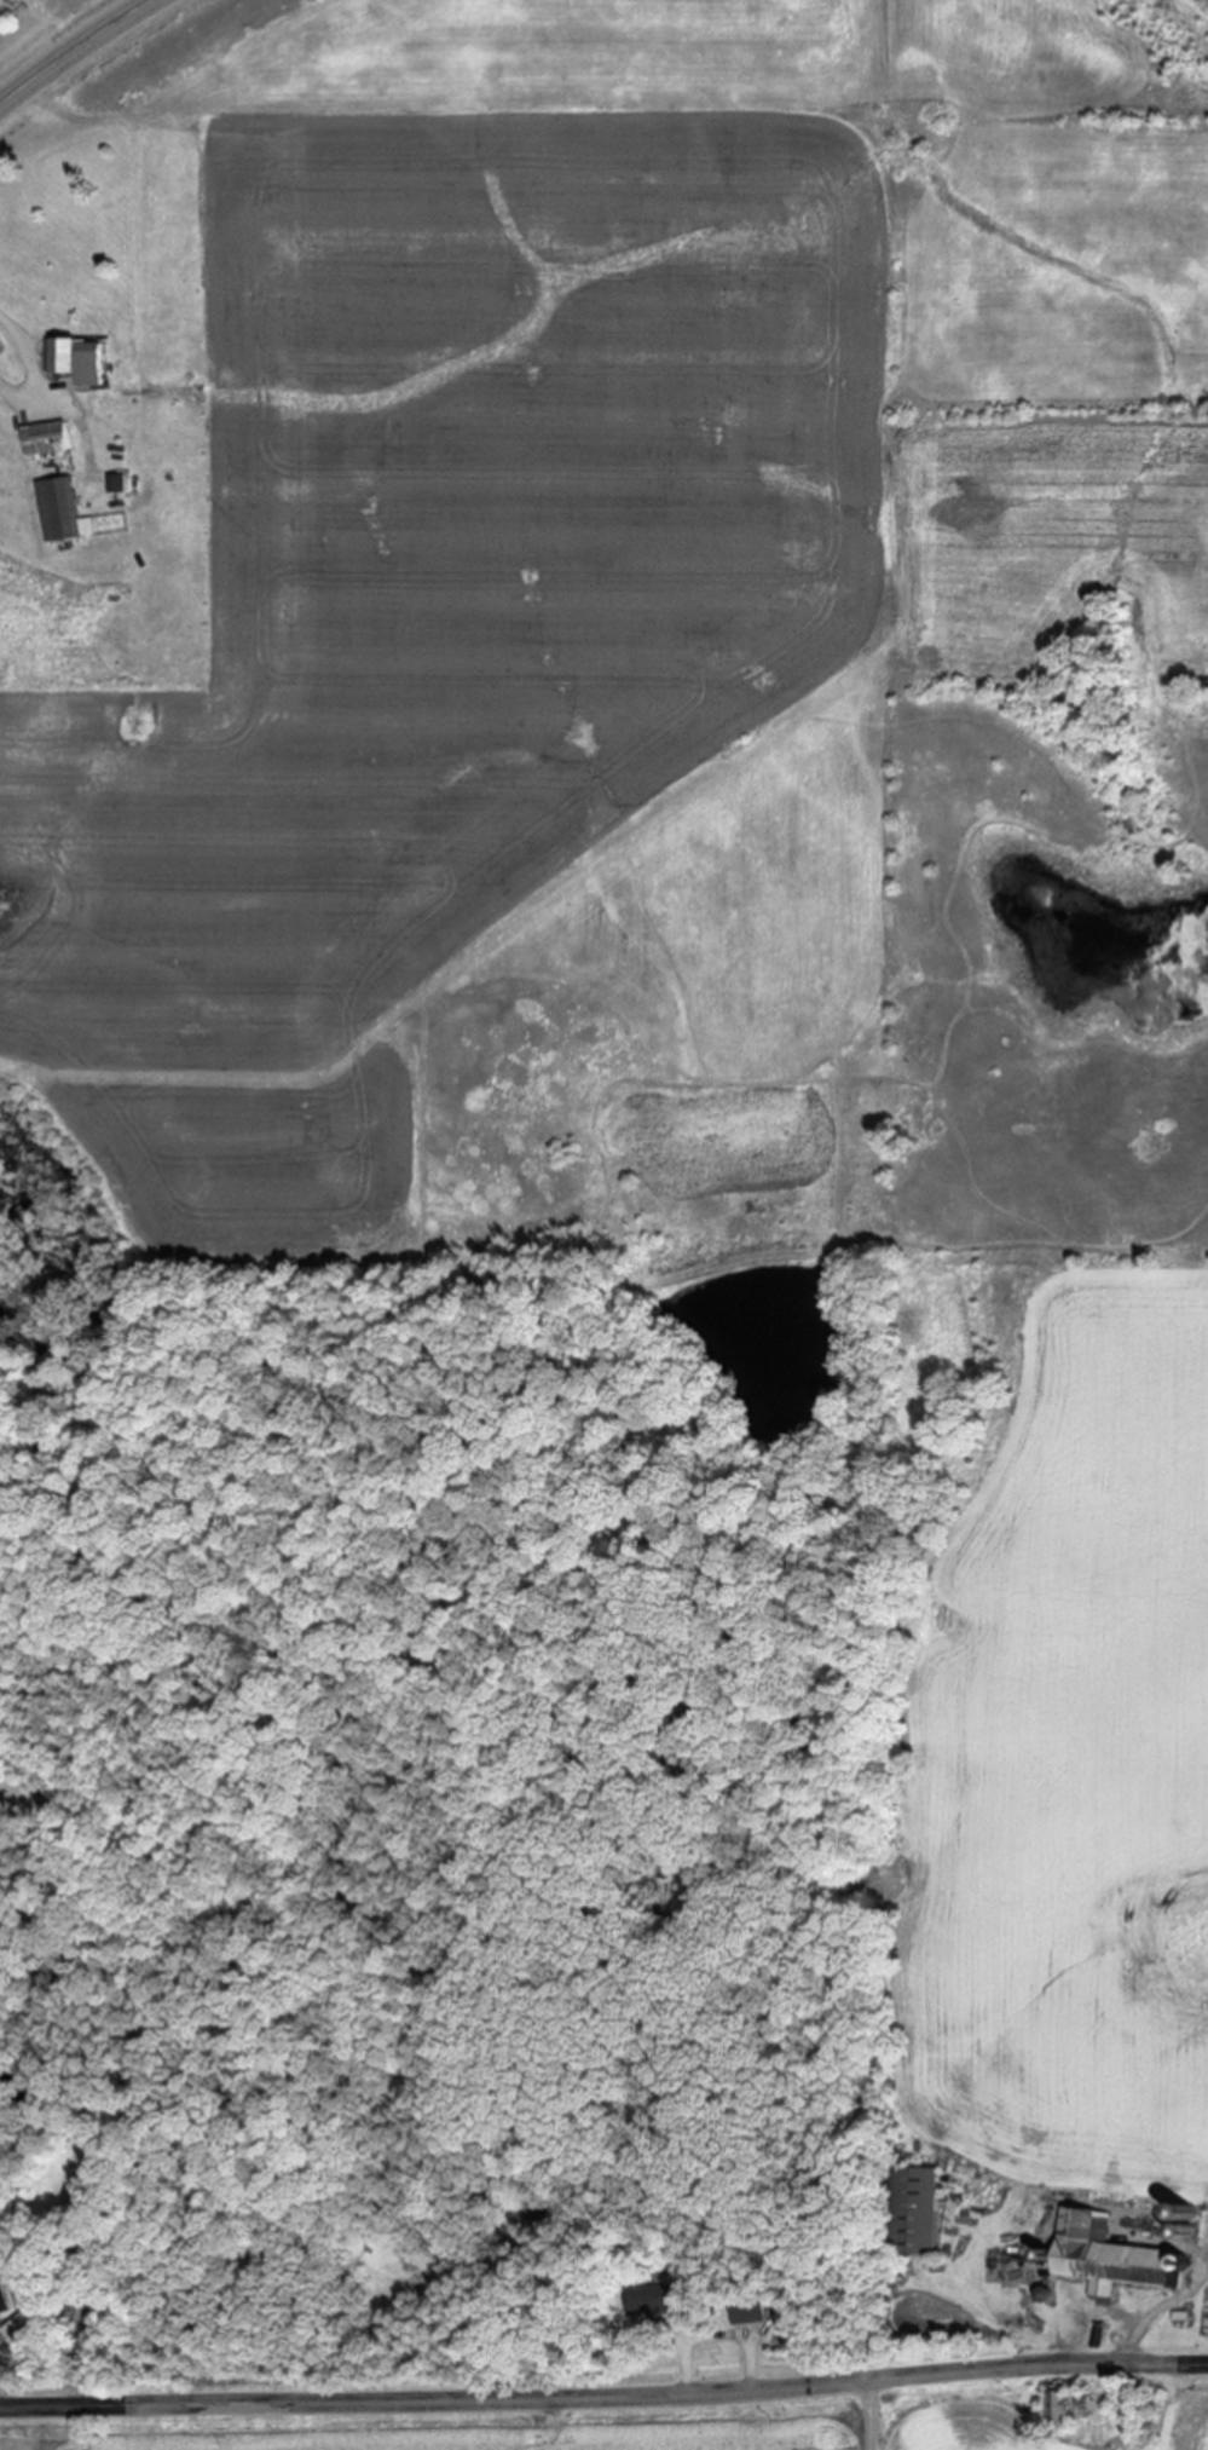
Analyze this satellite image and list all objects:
road: (73, 51)
building: (81, 361)
road: (29, 364)
building: (53, 440)
building: (120, 485)
building: (65, 513)
building: (1100, 2255)
building: (653, 2302)
building: (2, 2304)
road: (1100, 2311)
building: (744, 2312)
building: (21, 2331)
road: (715, 2335)
road: (605, 2396)

